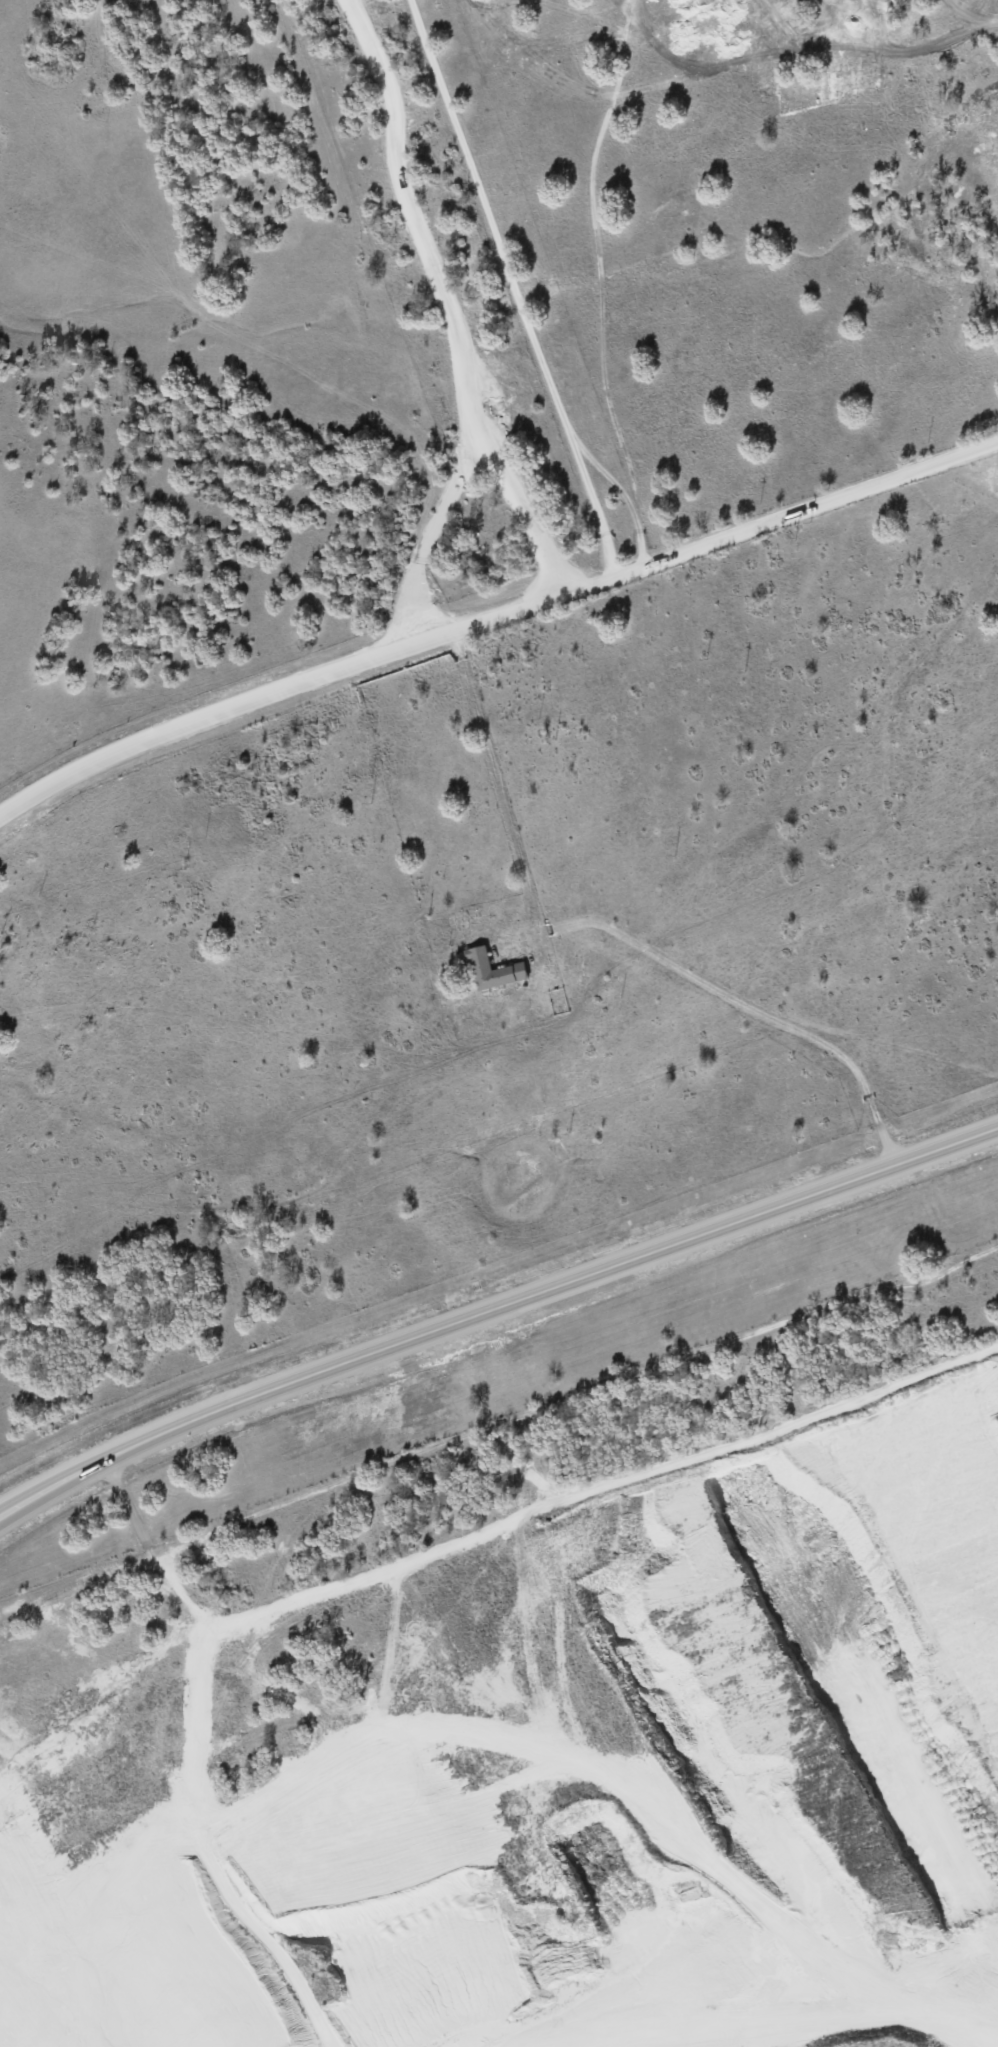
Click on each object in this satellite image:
road: (417, 227)
road: (515, 286)
road: (462, 472)
road: (494, 617)
road: (497, 785)
building: (493, 969)
road: (882, 1288)
road: (494, 1307)
road: (458, 1438)
road: (510, 1528)

